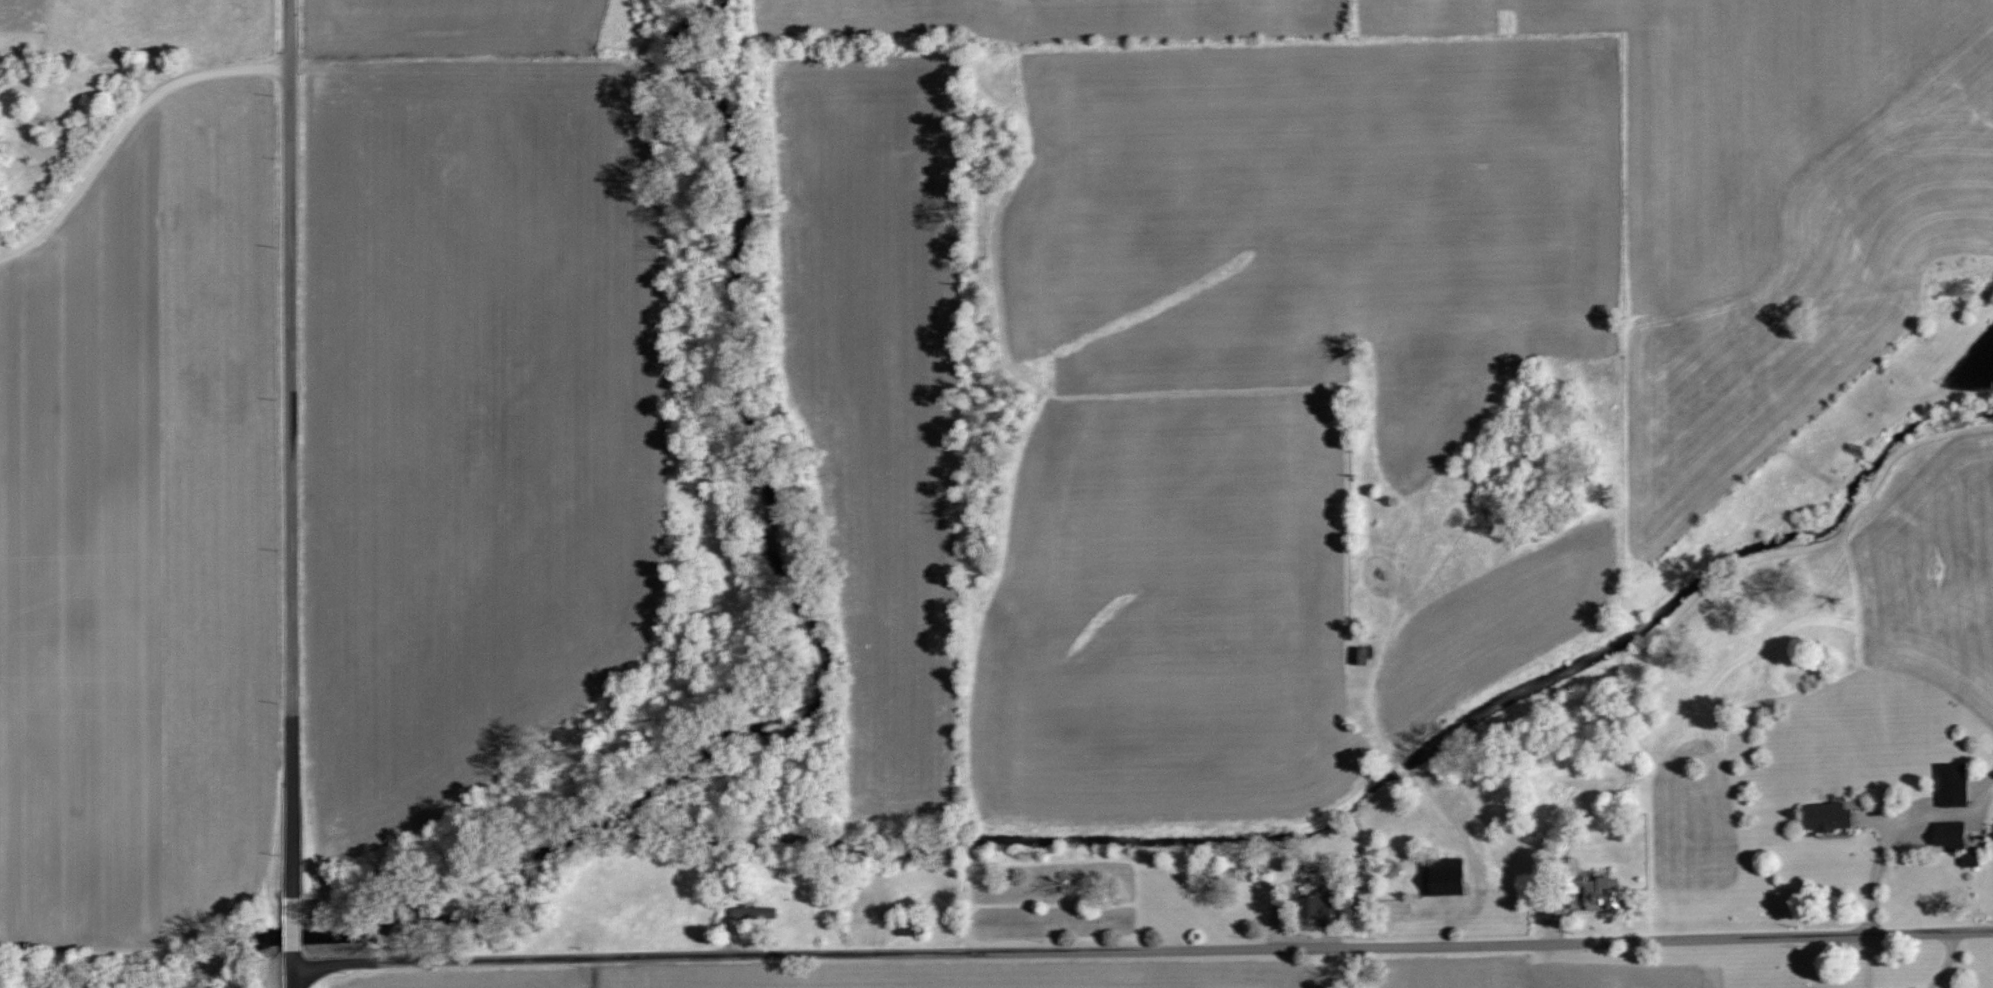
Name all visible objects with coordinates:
road: (123, 127)
road: (289, 442)
building: (1952, 784)
building: (1827, 816)
building: (1944, 832)
building: (1391, 868)
building: (1593, 886)
building: (1394, 905)
building: (1315, 908)
building: (753, 912)
road: (294, 916)
road: (1142, 951)
road: (1946, 963)
road: (294, 968)

